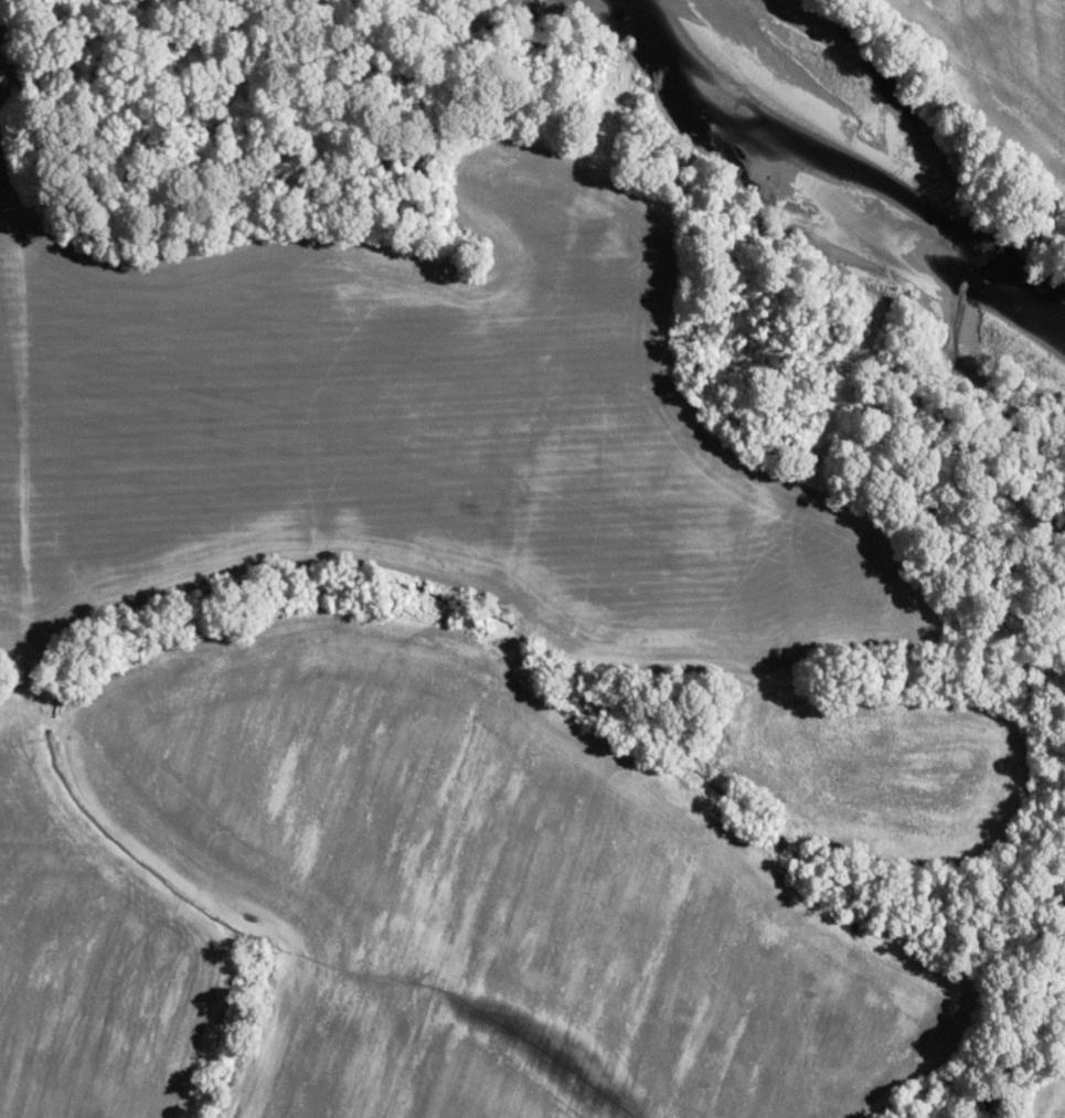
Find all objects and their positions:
river: (826, 180)

